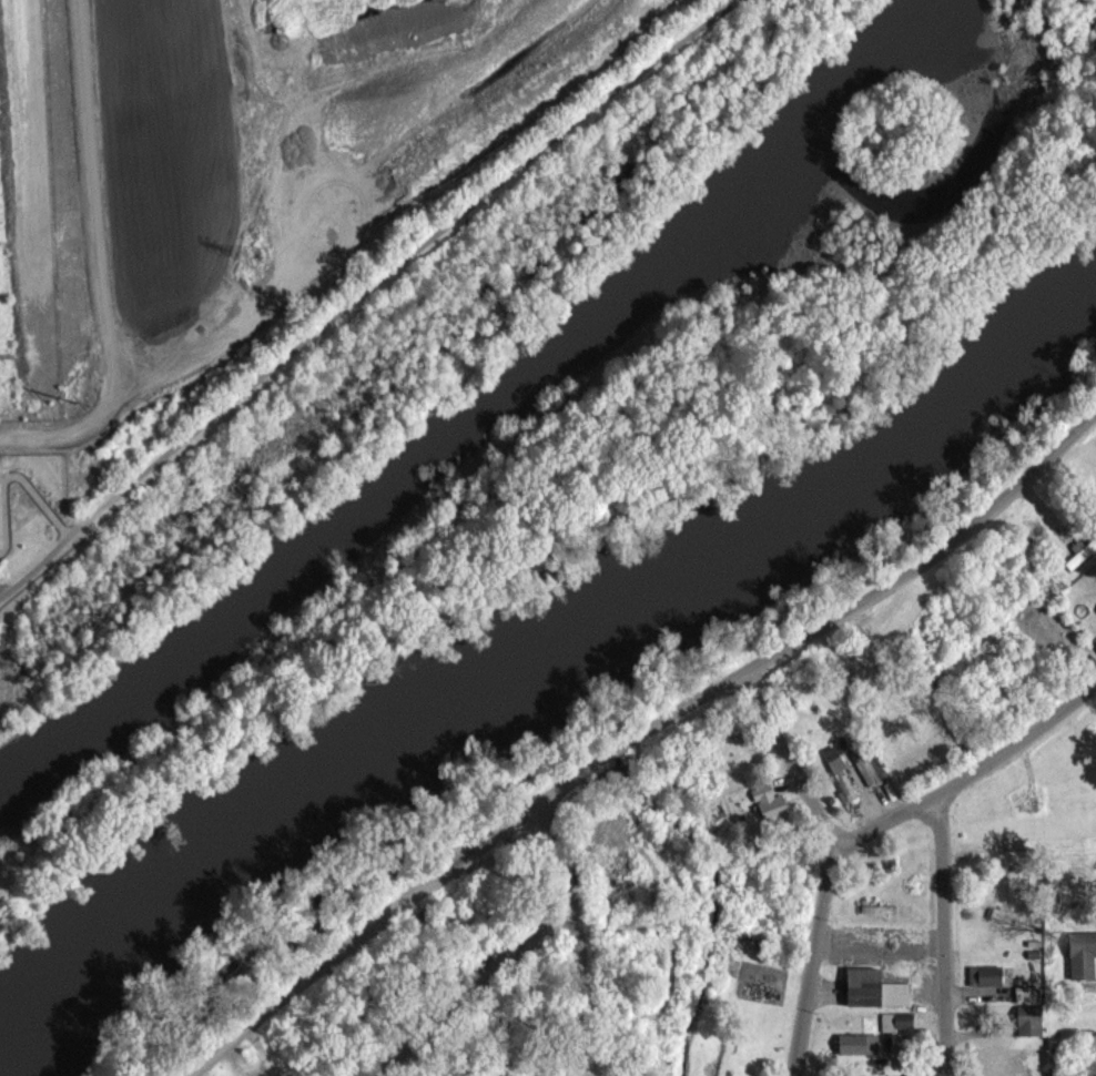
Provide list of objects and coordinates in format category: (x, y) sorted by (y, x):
road: (98, 260)
power tower: (256, 262)
road: (365, 292)
power tower: (74, 402)
road: (11, 475)
building: (1083, 561)
river: (534, 657)
road: (638, 741)
building: (872, 775)
road: (968, 775)
building: (841, 783)
building: (771, 811)
road: (834, 865)
road: (947, 934)
road: (574, 940)
building: (1084, 965)
building: (987, 985)
road: (480, 996)
building: (876, 998)
building: (1027, 1001)
building: (1031, 1029)
building: (897, 1031)
building: (859, 1053)
building: (994, 1067)

